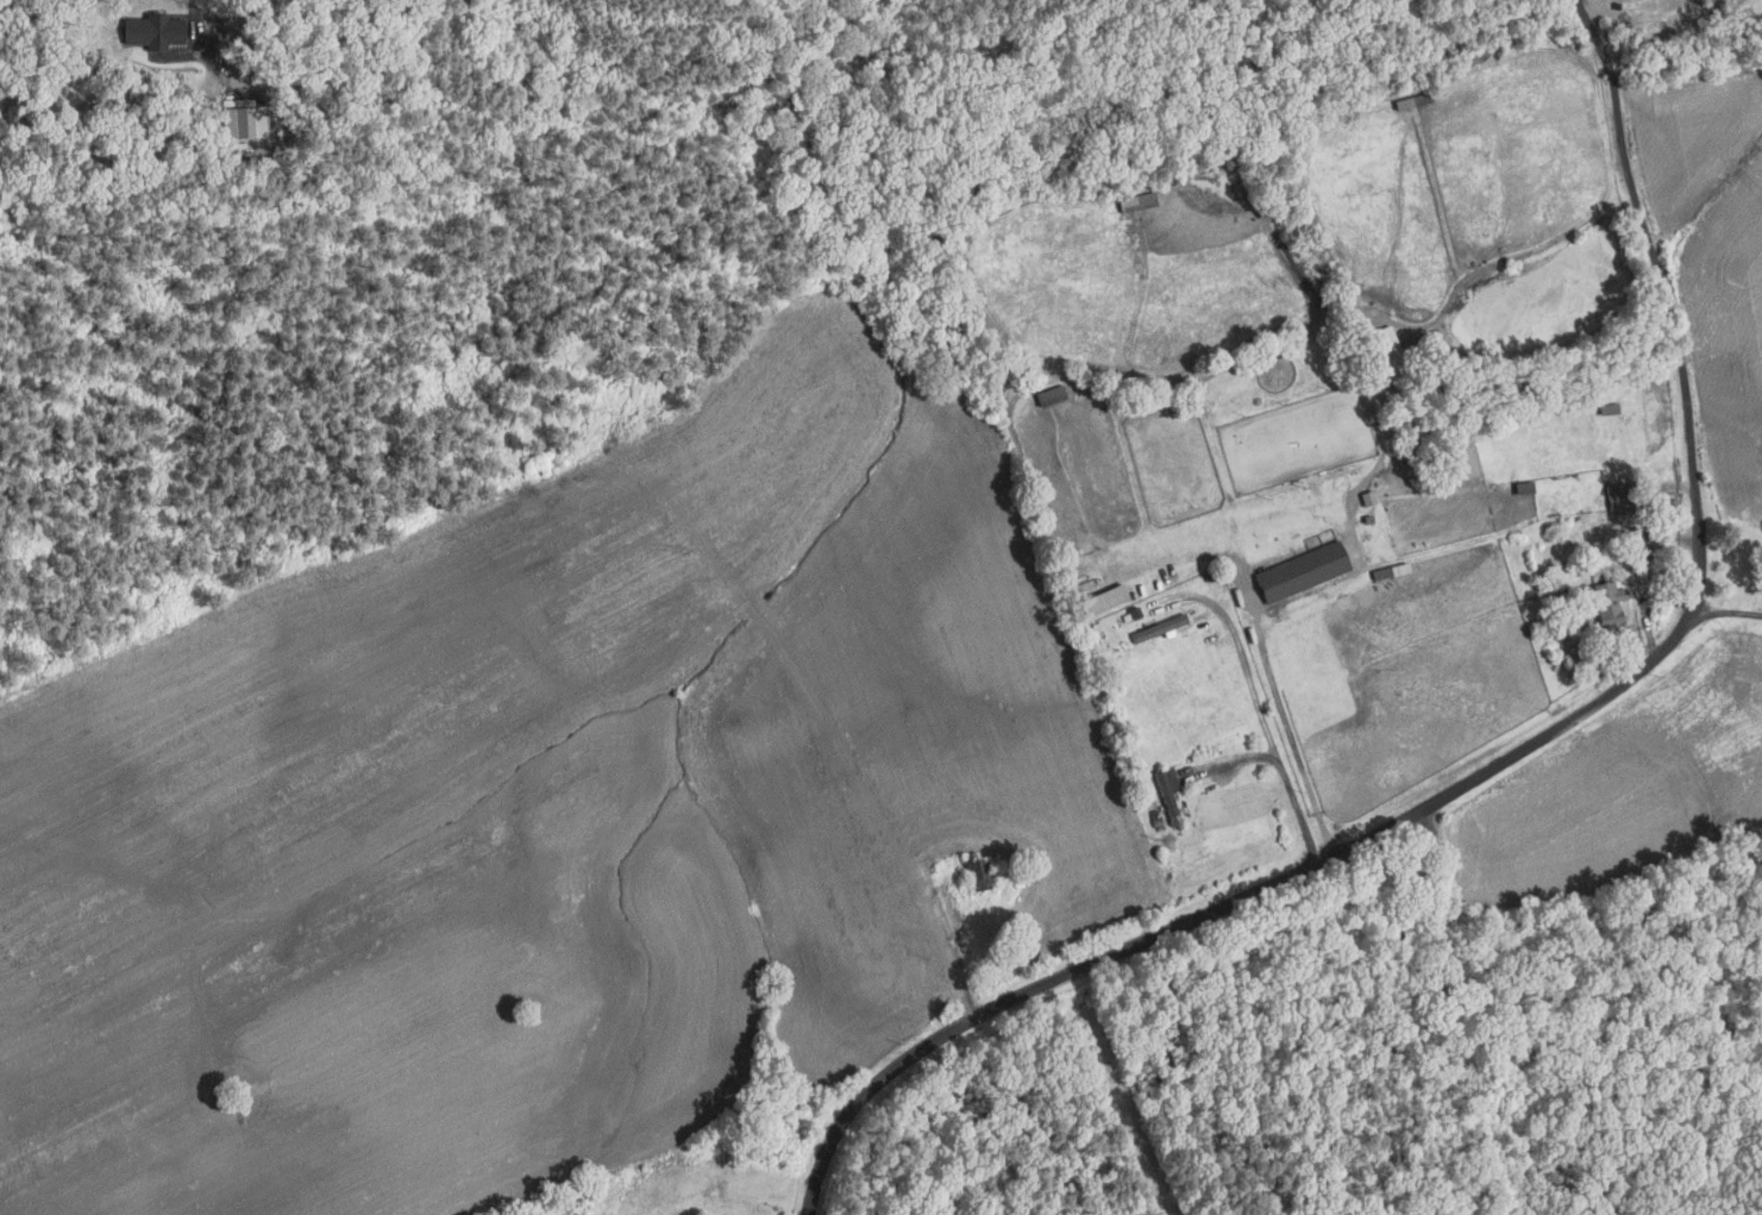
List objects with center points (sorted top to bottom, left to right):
building: (151, 31)
building: (1413, 101)
building: (239, 123)
building: (1135, 202)
road: (1663, 290)
building: (1388, 353)
building: (1049, 396)
building: (1187, 408)
building: (1607, 408)
building: (1523, 488)
building: (1367, 497)
building: (1618, 497)
building: (1669, 508)
building: (1367, 520)
building: (1641, 530)
building: (1387, 571)
building: (1302, 572)
building: (1211, 577)
building: (1102, 601)
building: (1610, 601)
road: (1647, 605)
road: (1725, 610)
building: (1135, 614)
building: (1096, 627)
building: (1158, 627)
building: (1102, 641)
building: (1097, 659)
road: (1246, 671)
road: (1285, 722)
road: (1242, 760)
building: (1166, 795)
road: (1297, 812)
building: (1154, 819)
building: (976, 870)
road: (1236, 898)
road: (954, 952)

